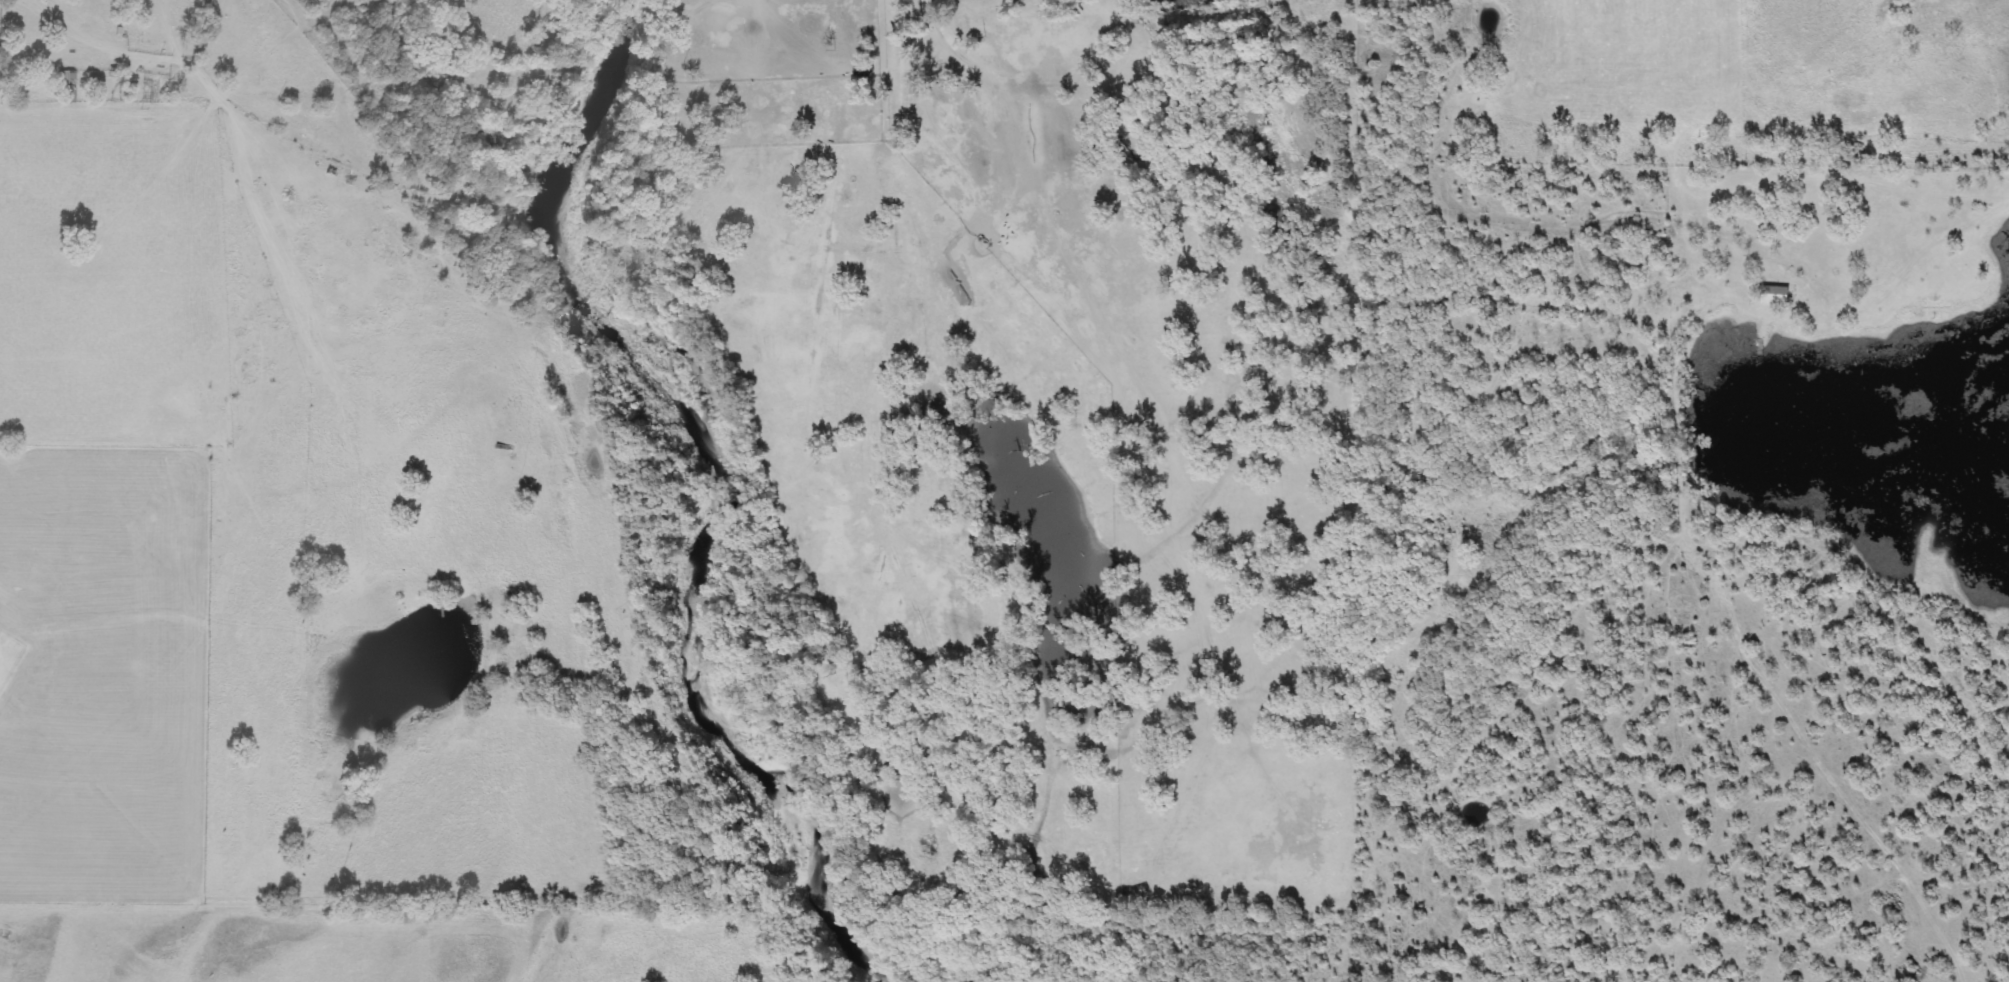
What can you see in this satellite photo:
building: (95, 85)
crop: (983, 85)
building: (67, 87)
building: (150, 93)
building: (1778, 296)

